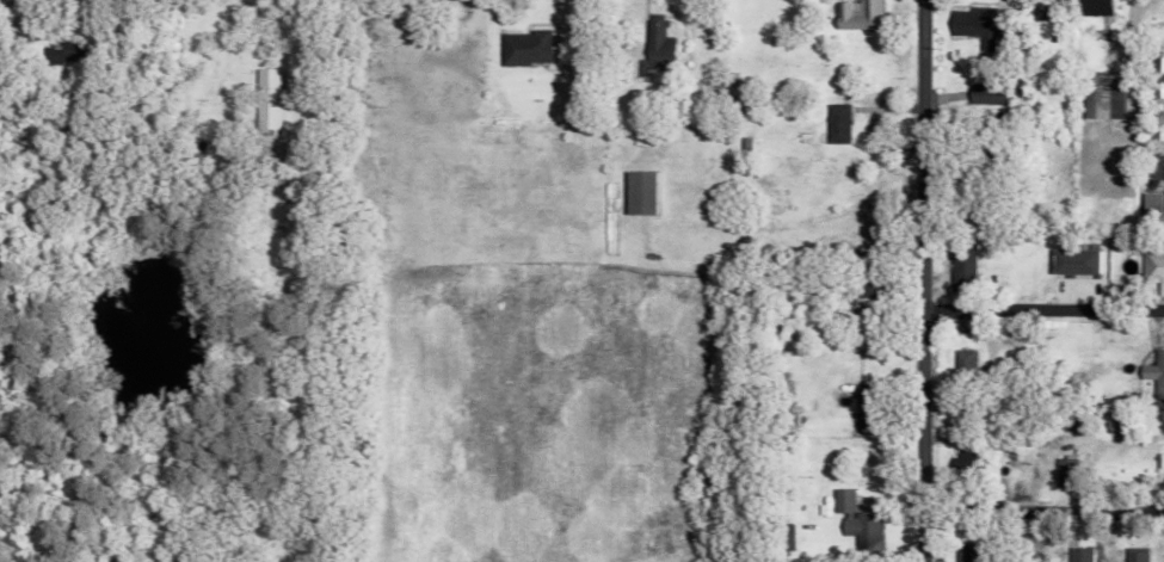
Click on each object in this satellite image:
building: (1091, 7)
building: (1040, 10)
building: (855, 16)
building: (971, 25)
building: (653, 47)
building: (521, 48)
building: (64, 53)
building: (1156, 73)
building: (980, 97)
building: (1098, 98)
building: (265, 99)
building: (834, 124)
building: (1153, 154)
building: (635, 193)
building: (1147, 208)
building: (1071, 263)
building: (960, 264)
building: (1152, 268)
road: (923, 280)
building: (862, 290)
road: (1043, 307)
building: (962, 360)
building: (1153, 372)
road: (602, 384)
building: (861, 406)
building: (1119, 420)
building: (1064, 469)
road: (1043, 506)
building: (854, 515)
building: (965, 554)

